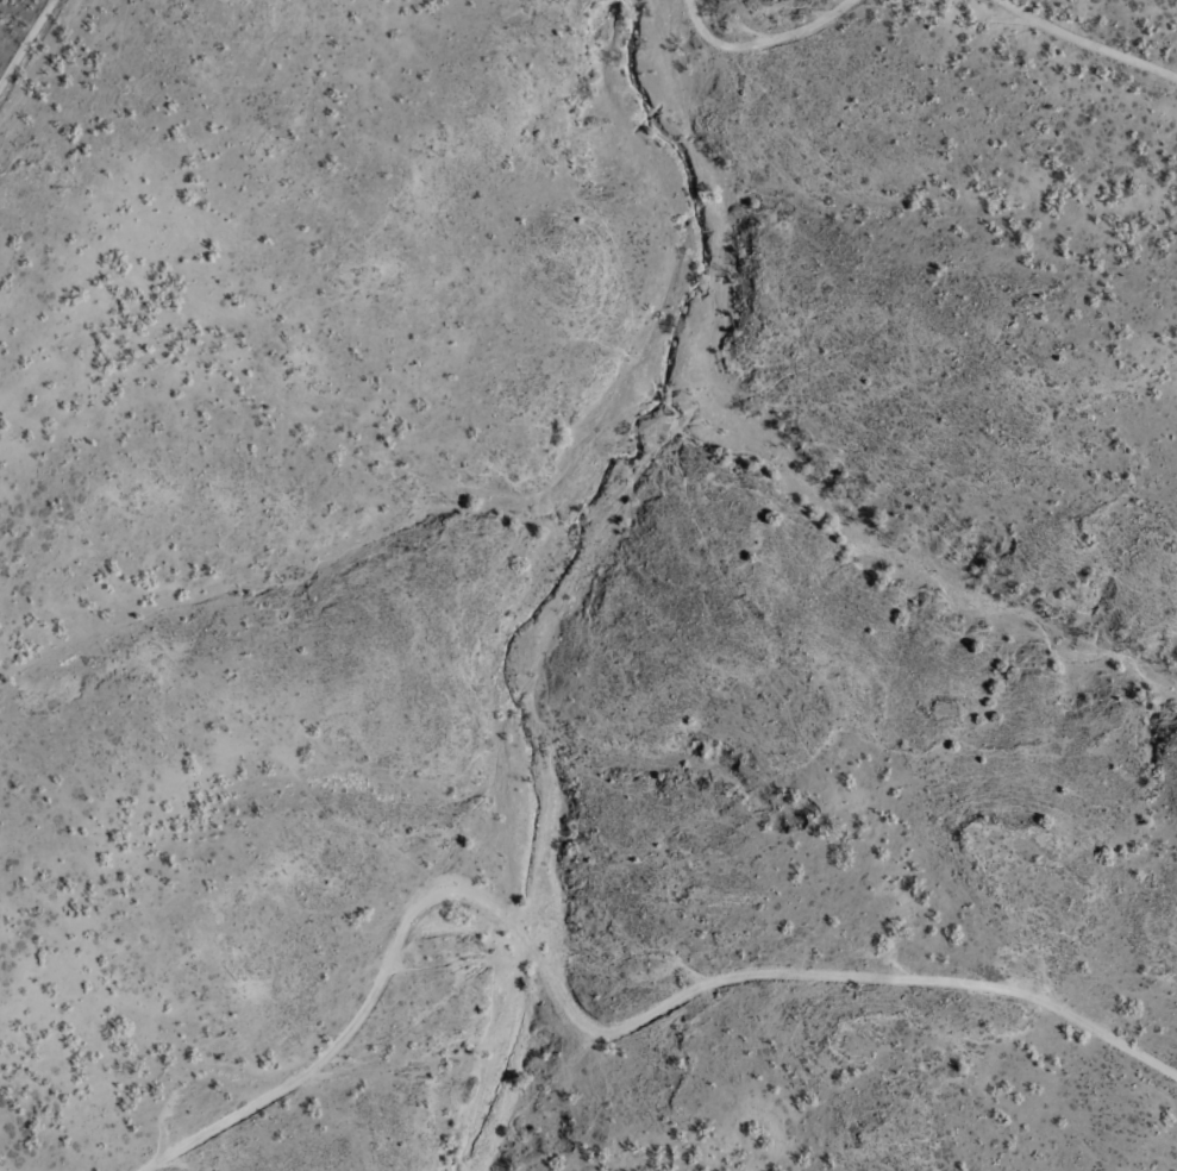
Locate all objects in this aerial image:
road: (762, 36)
road: (1090, 42)
road: (36, 50)
road: (612, 1029)

